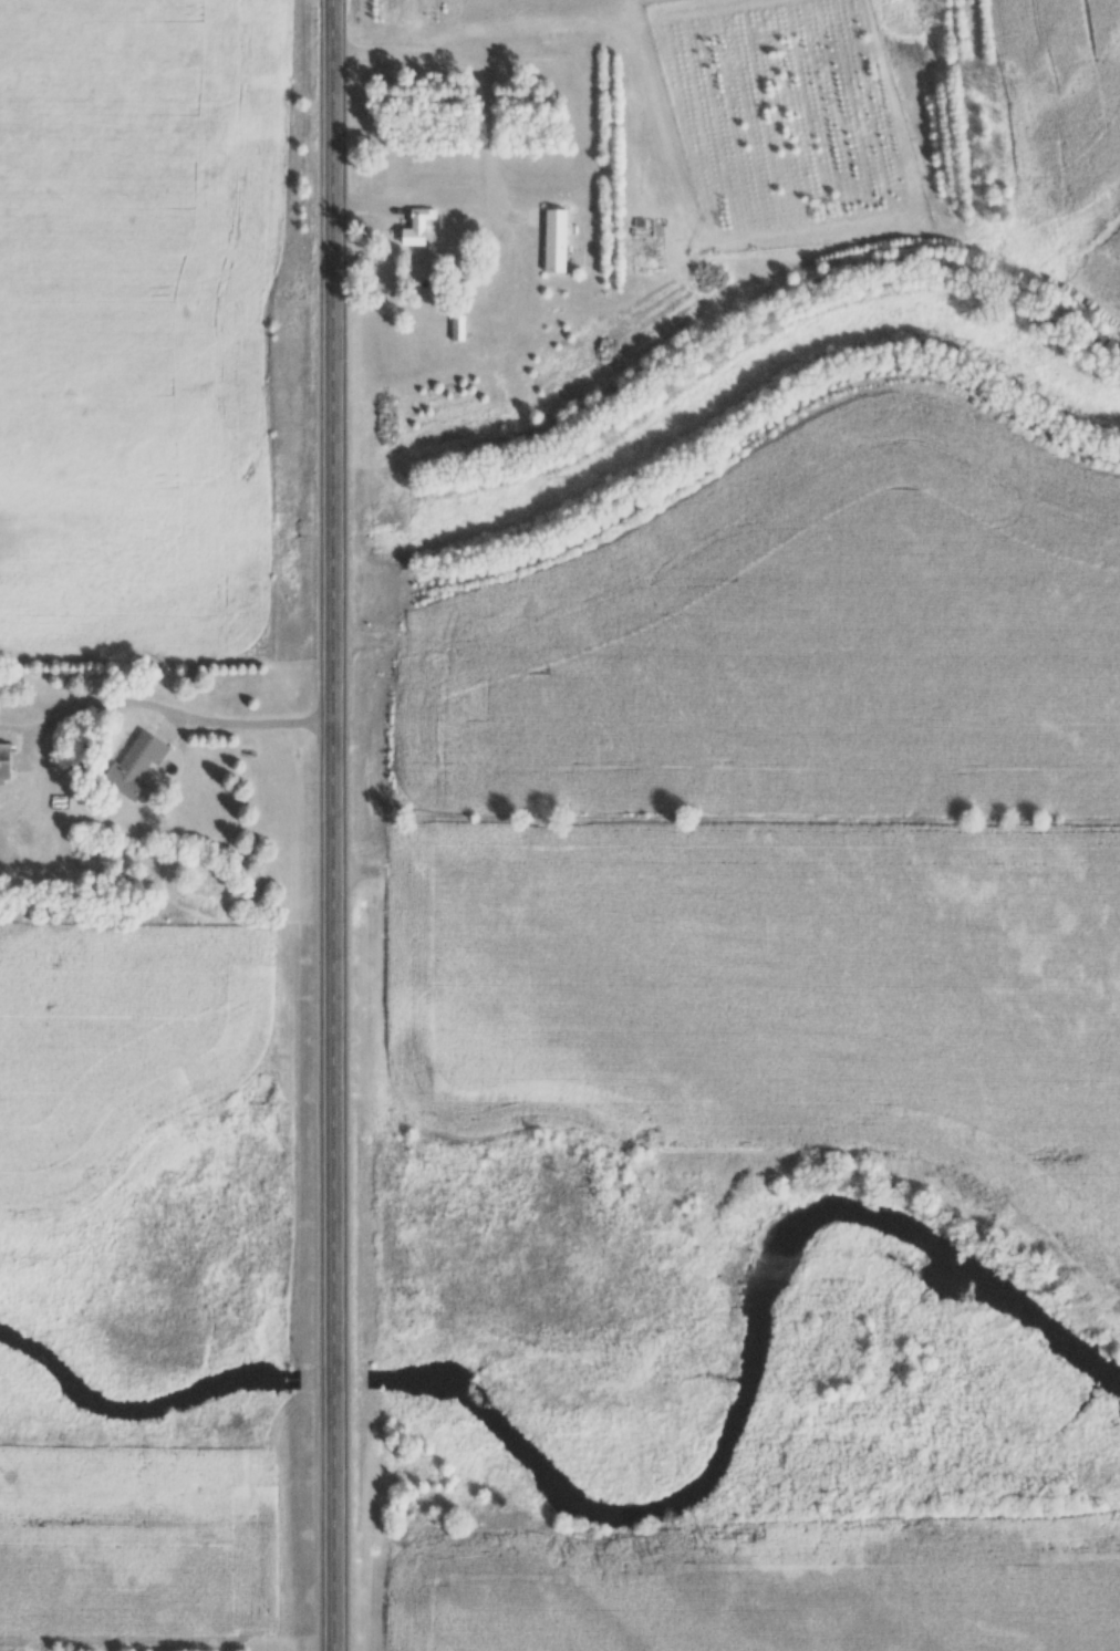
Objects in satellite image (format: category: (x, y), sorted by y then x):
road: (480, 70)
building: (417, 229)
building: (557, 241)
building: (458, 329)
road: (252, 719)
building: (6, 762)
building: (137, 766)
road: (344, 825)

